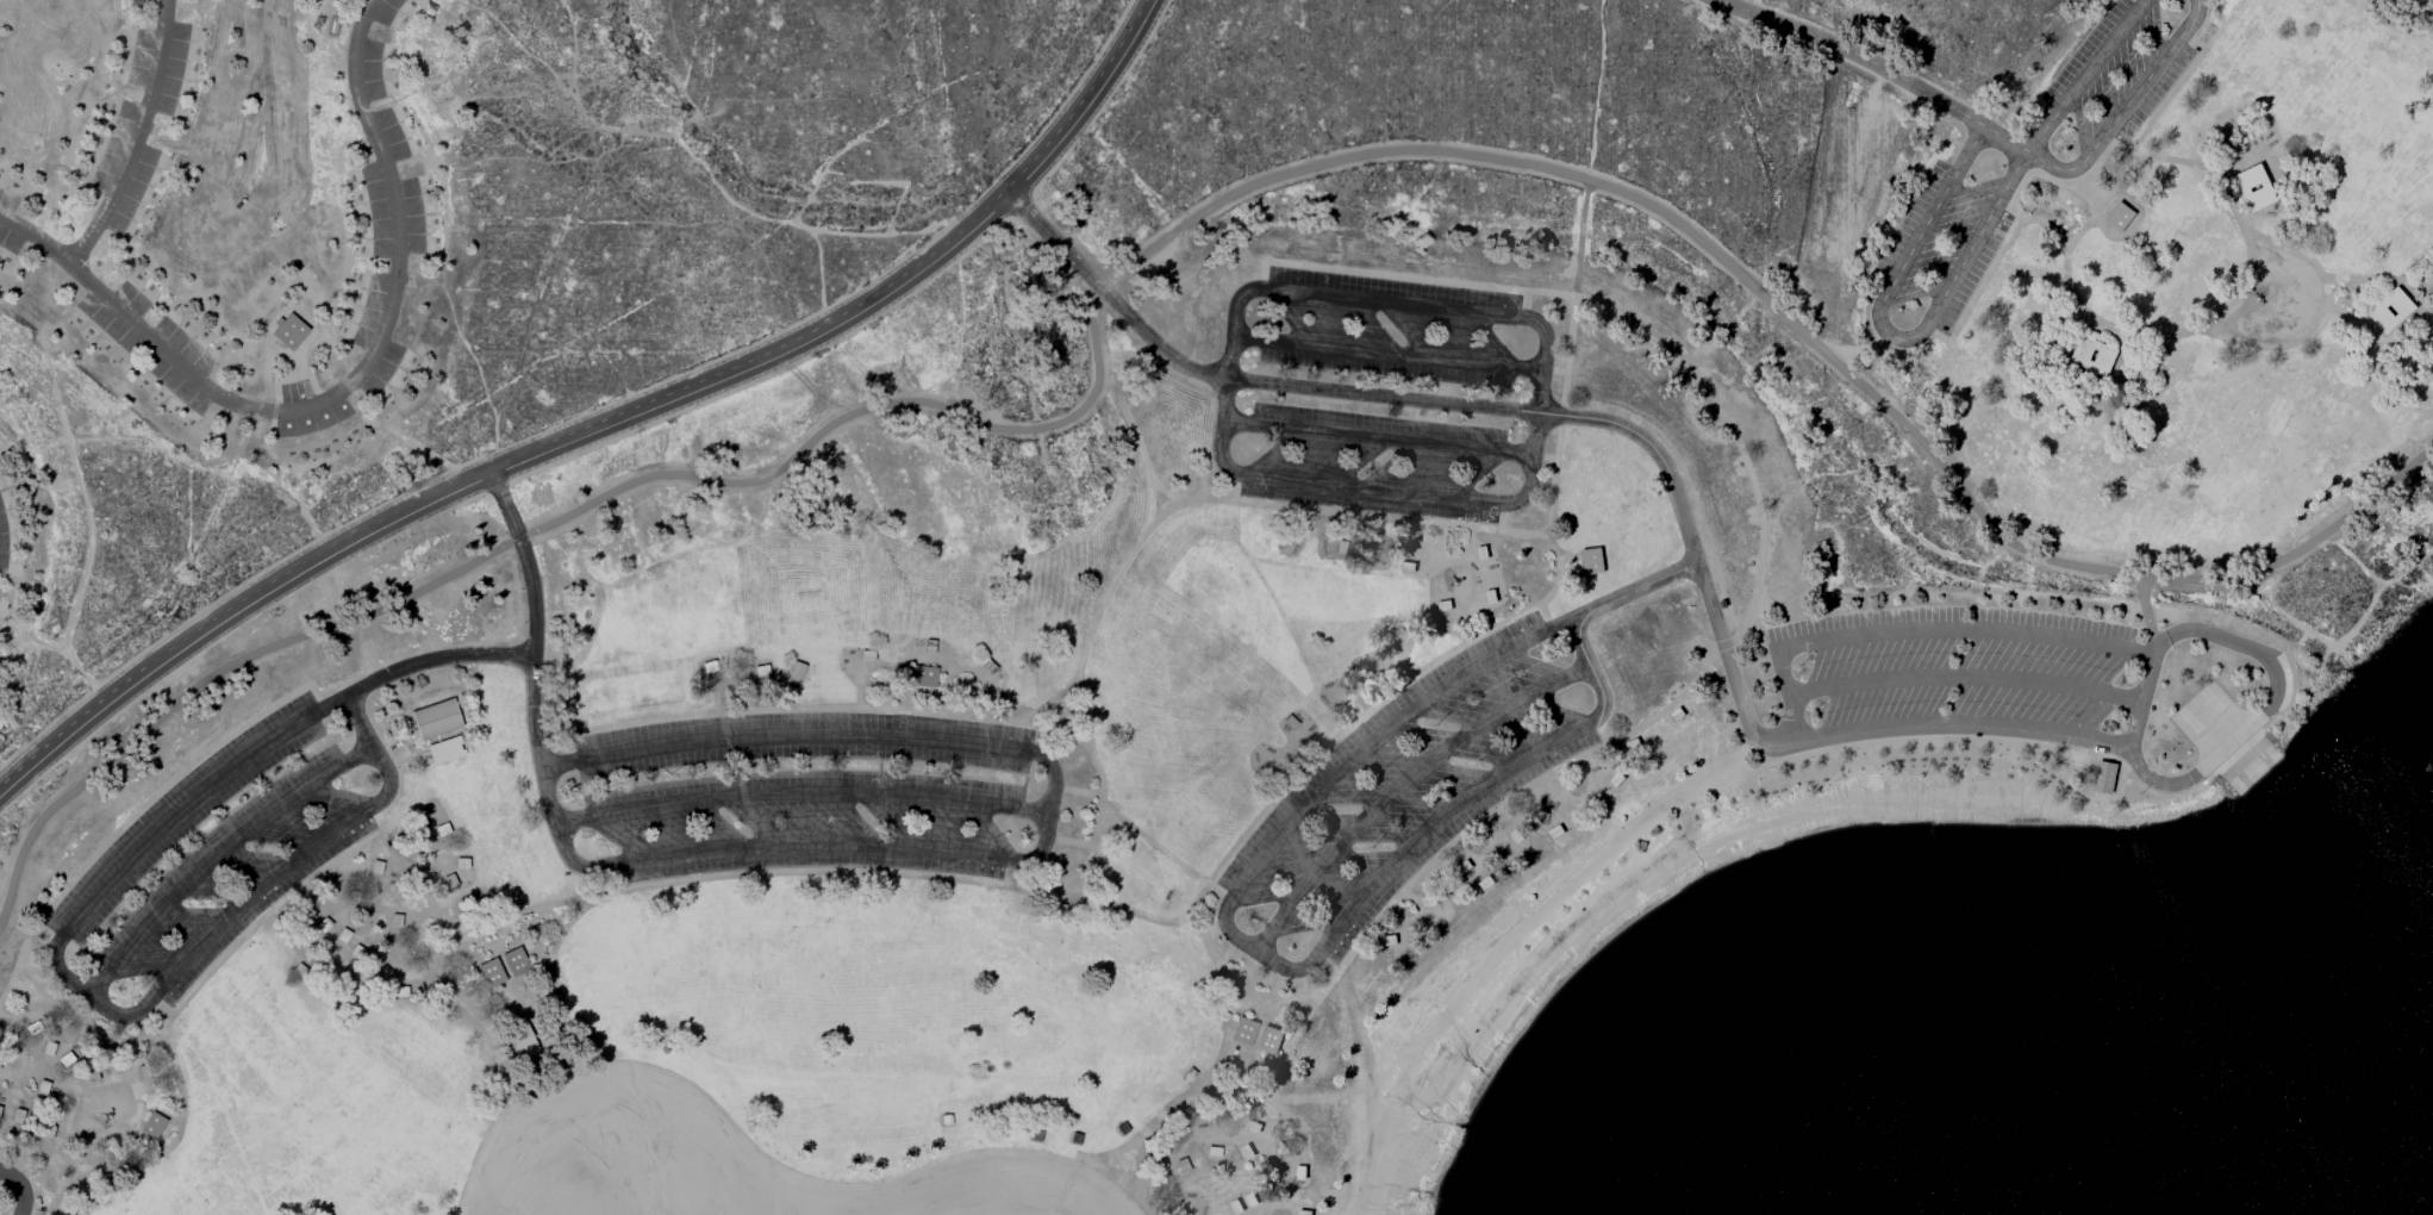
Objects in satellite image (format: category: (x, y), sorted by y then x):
road: (1854, 56)
road: (2085, 75)
parking lot: (2120, 77)
road: (2127, 110)
road: (131, 135)
road: (2007, 139)
building: (2253, 187)
building: (2117, 217)
parking lot: (1949, 236)
road: (1156, 244)
building: (2391, 311)
road: (2206, 324)
road: (1892, 335)
road: (1386, 355)
building: (2092, 355)
road: (339, 387)
parking lot: (1380, 393)
road: (1537, 413)
road: (605, 419)
road: (1378, 436)
road: (1673, 475)
road: (1554, 550)
building: (1590, 561)
road: (1092, 622)
road: (2019, 636)
road: (536, 667)
parking lot: (1948, 673)
road: (378, 675)
building: (922, 675)
road: (1990, 679)
building: (435, 718)
road: (2135, 723)
road: (2257, 731)
building: (445, 748)
road: (1058, 772)
building: (2103, 777)
parking lot: (1402, 787)
road: (1406, 787)
parking lot: (823, 793)
road: (836, 842)
parking lot: (205, 856)
road: (1229, 906)
road: (1143, 917)
road: (224, 918)
building: (514, 960)
road: (54, 965)
building: (489, 972)
building: (1255, 1035)
building: (524, 1039)
building: (151, 1124)
building: (1172, 1167)
road: (23, 1186)
parking lot: (25, 1204)

